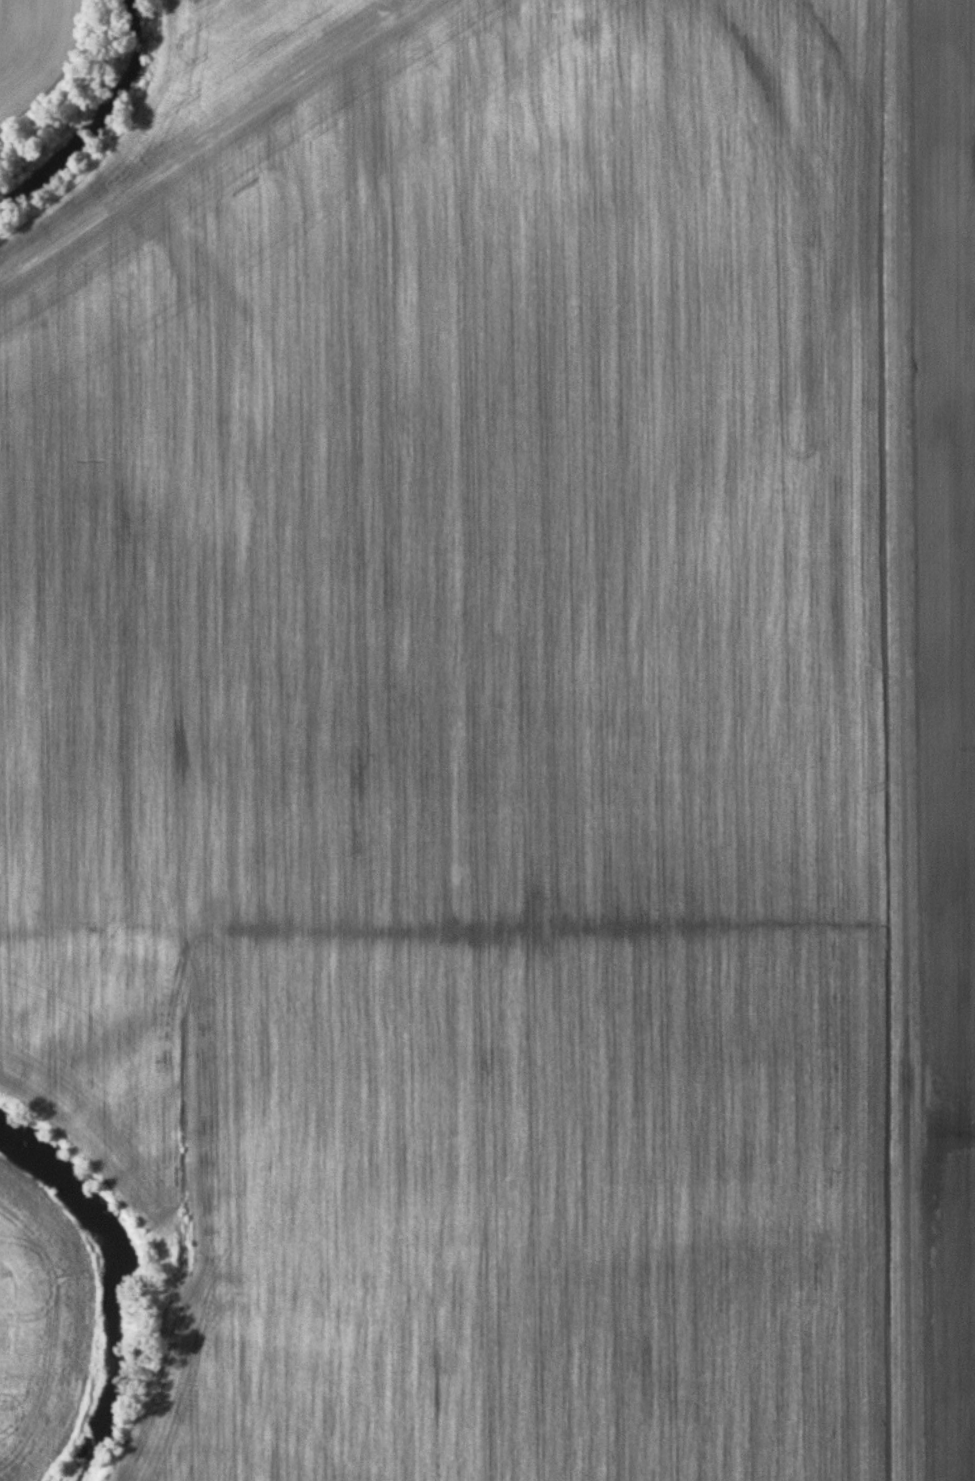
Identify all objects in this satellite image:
road: (904, 740)

